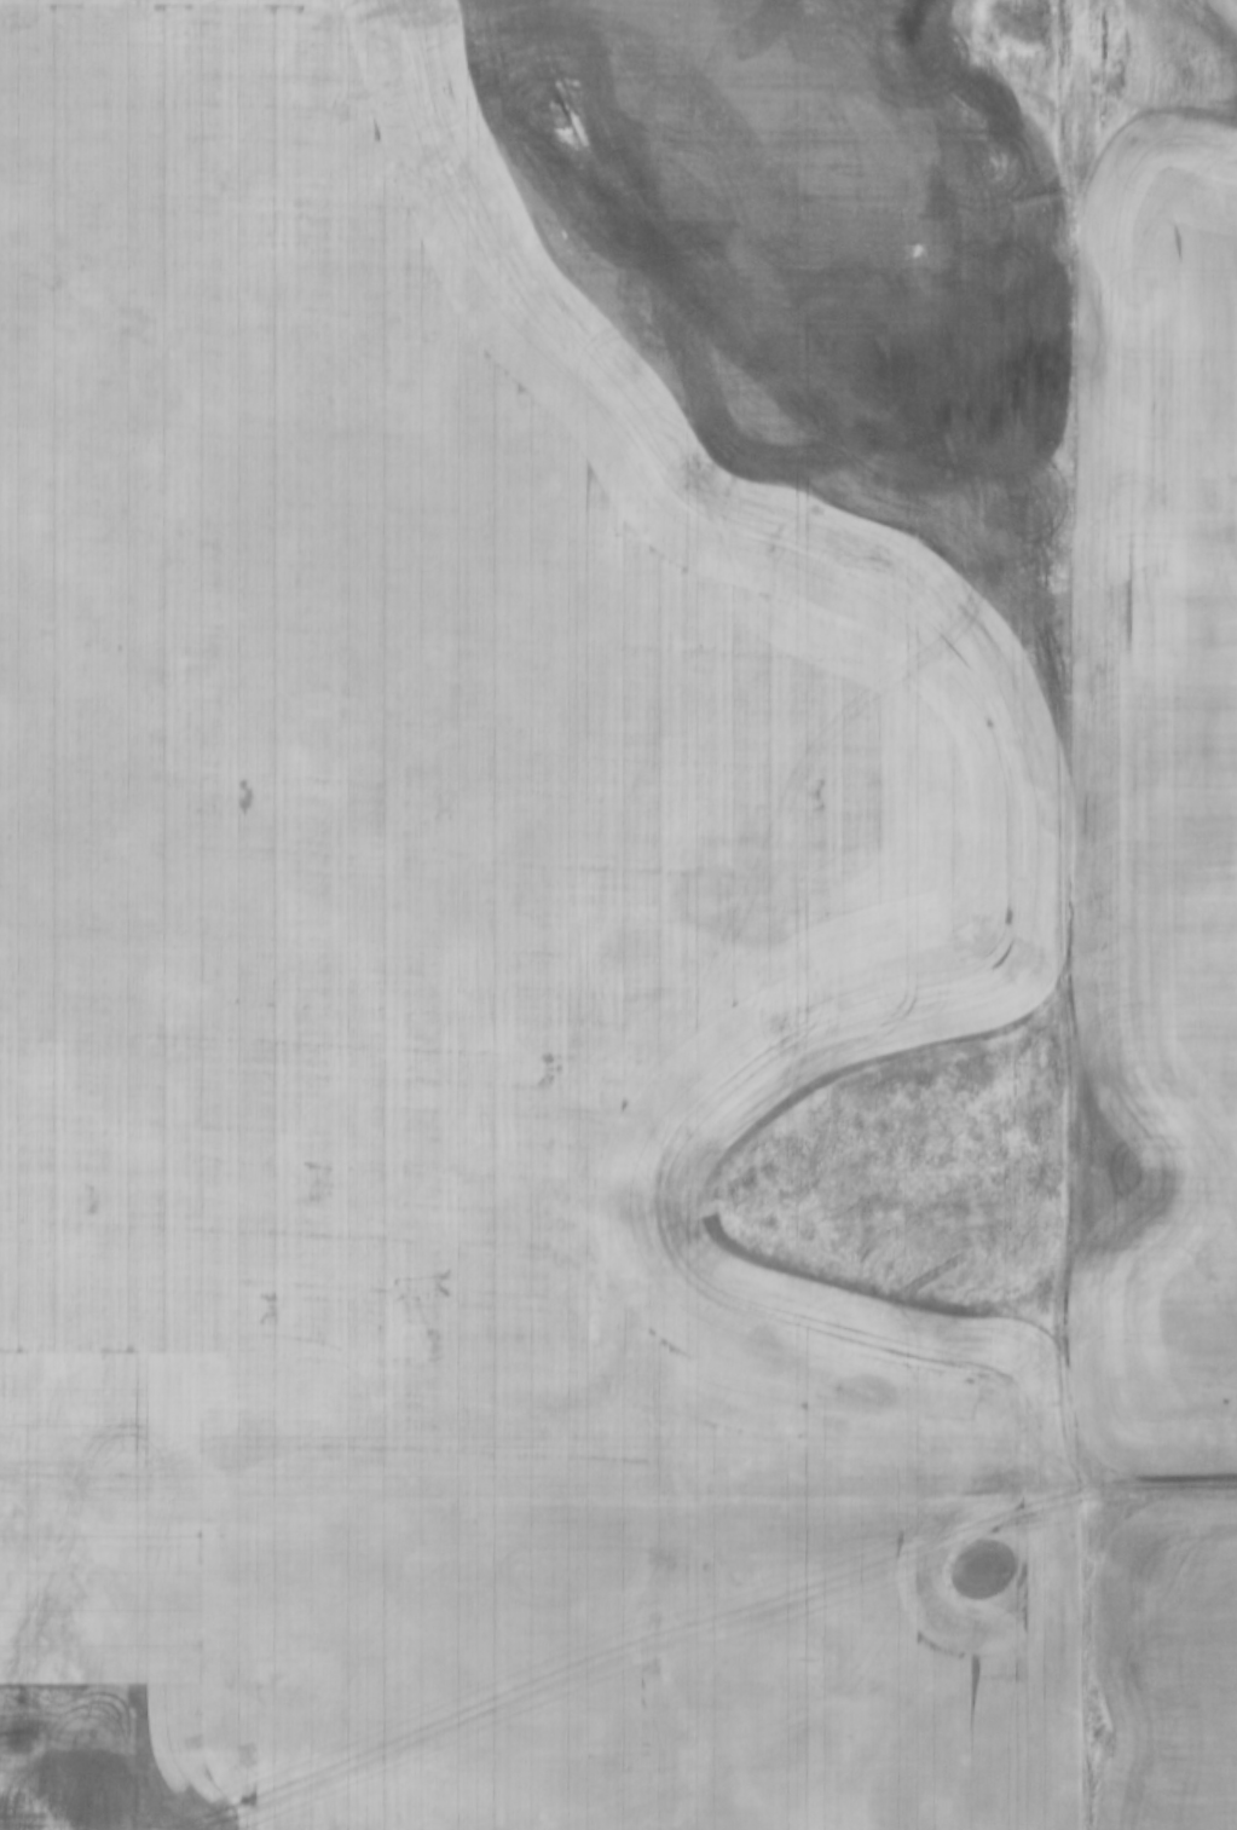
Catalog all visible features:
road: (1060, 853)

